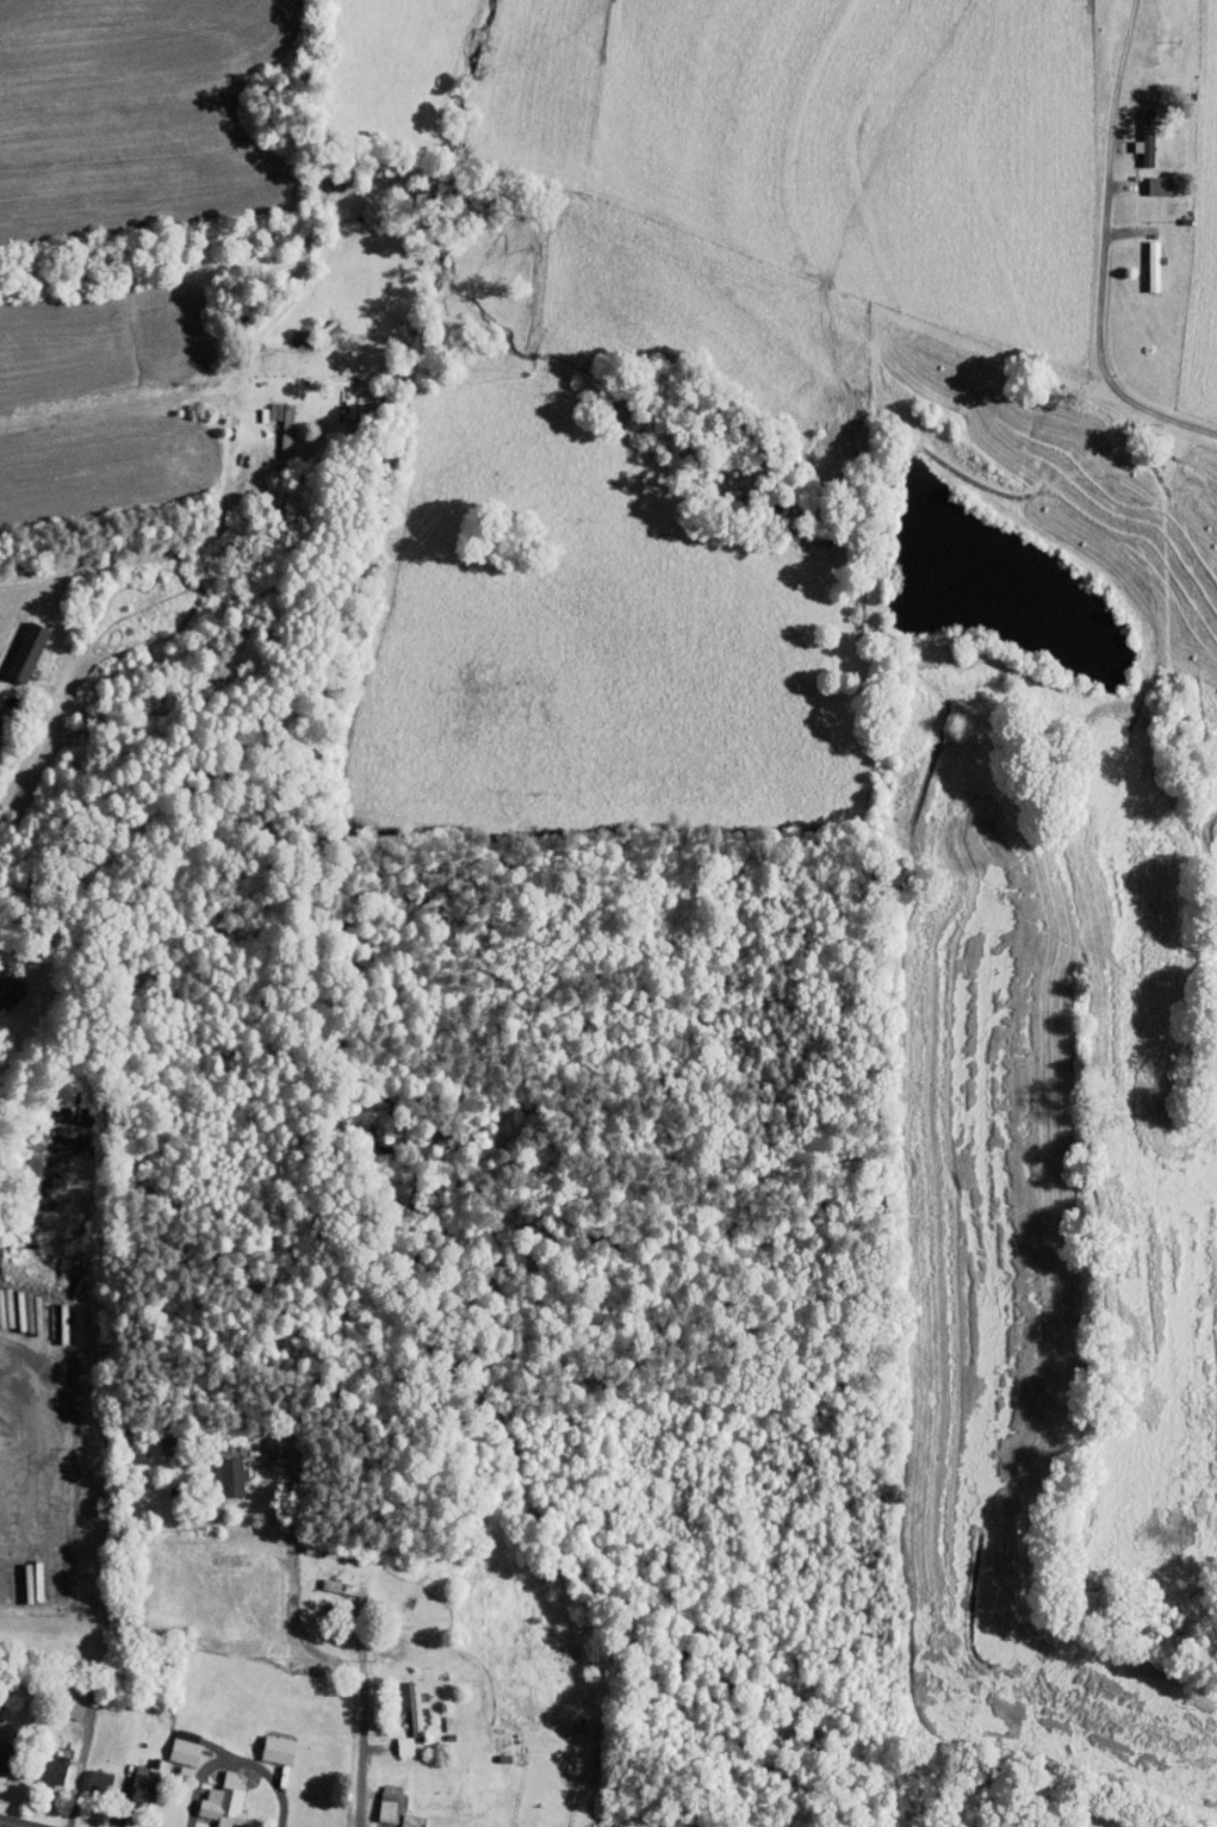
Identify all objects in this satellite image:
building: (1134, 130)
building: (1148, 178)
road: (1089, 201)
road: (1159, 378)
building: (269, 417)
road: (148, 548)
building: (17, 644)
building: (217, 1469)
building: (331, 1579)
road: (321, 1654)
building: (403, 1699)
building: (393, 1739)
building: (173, 1740)
building: (266, 1742)
building: (43, 1760)
road: (789, 1764)
building: (87, 1773)
building: (131, 1778)
building: (212, 1795)
building: (378, 1796)
building: (399, 1816)
road: (12, 1823)

